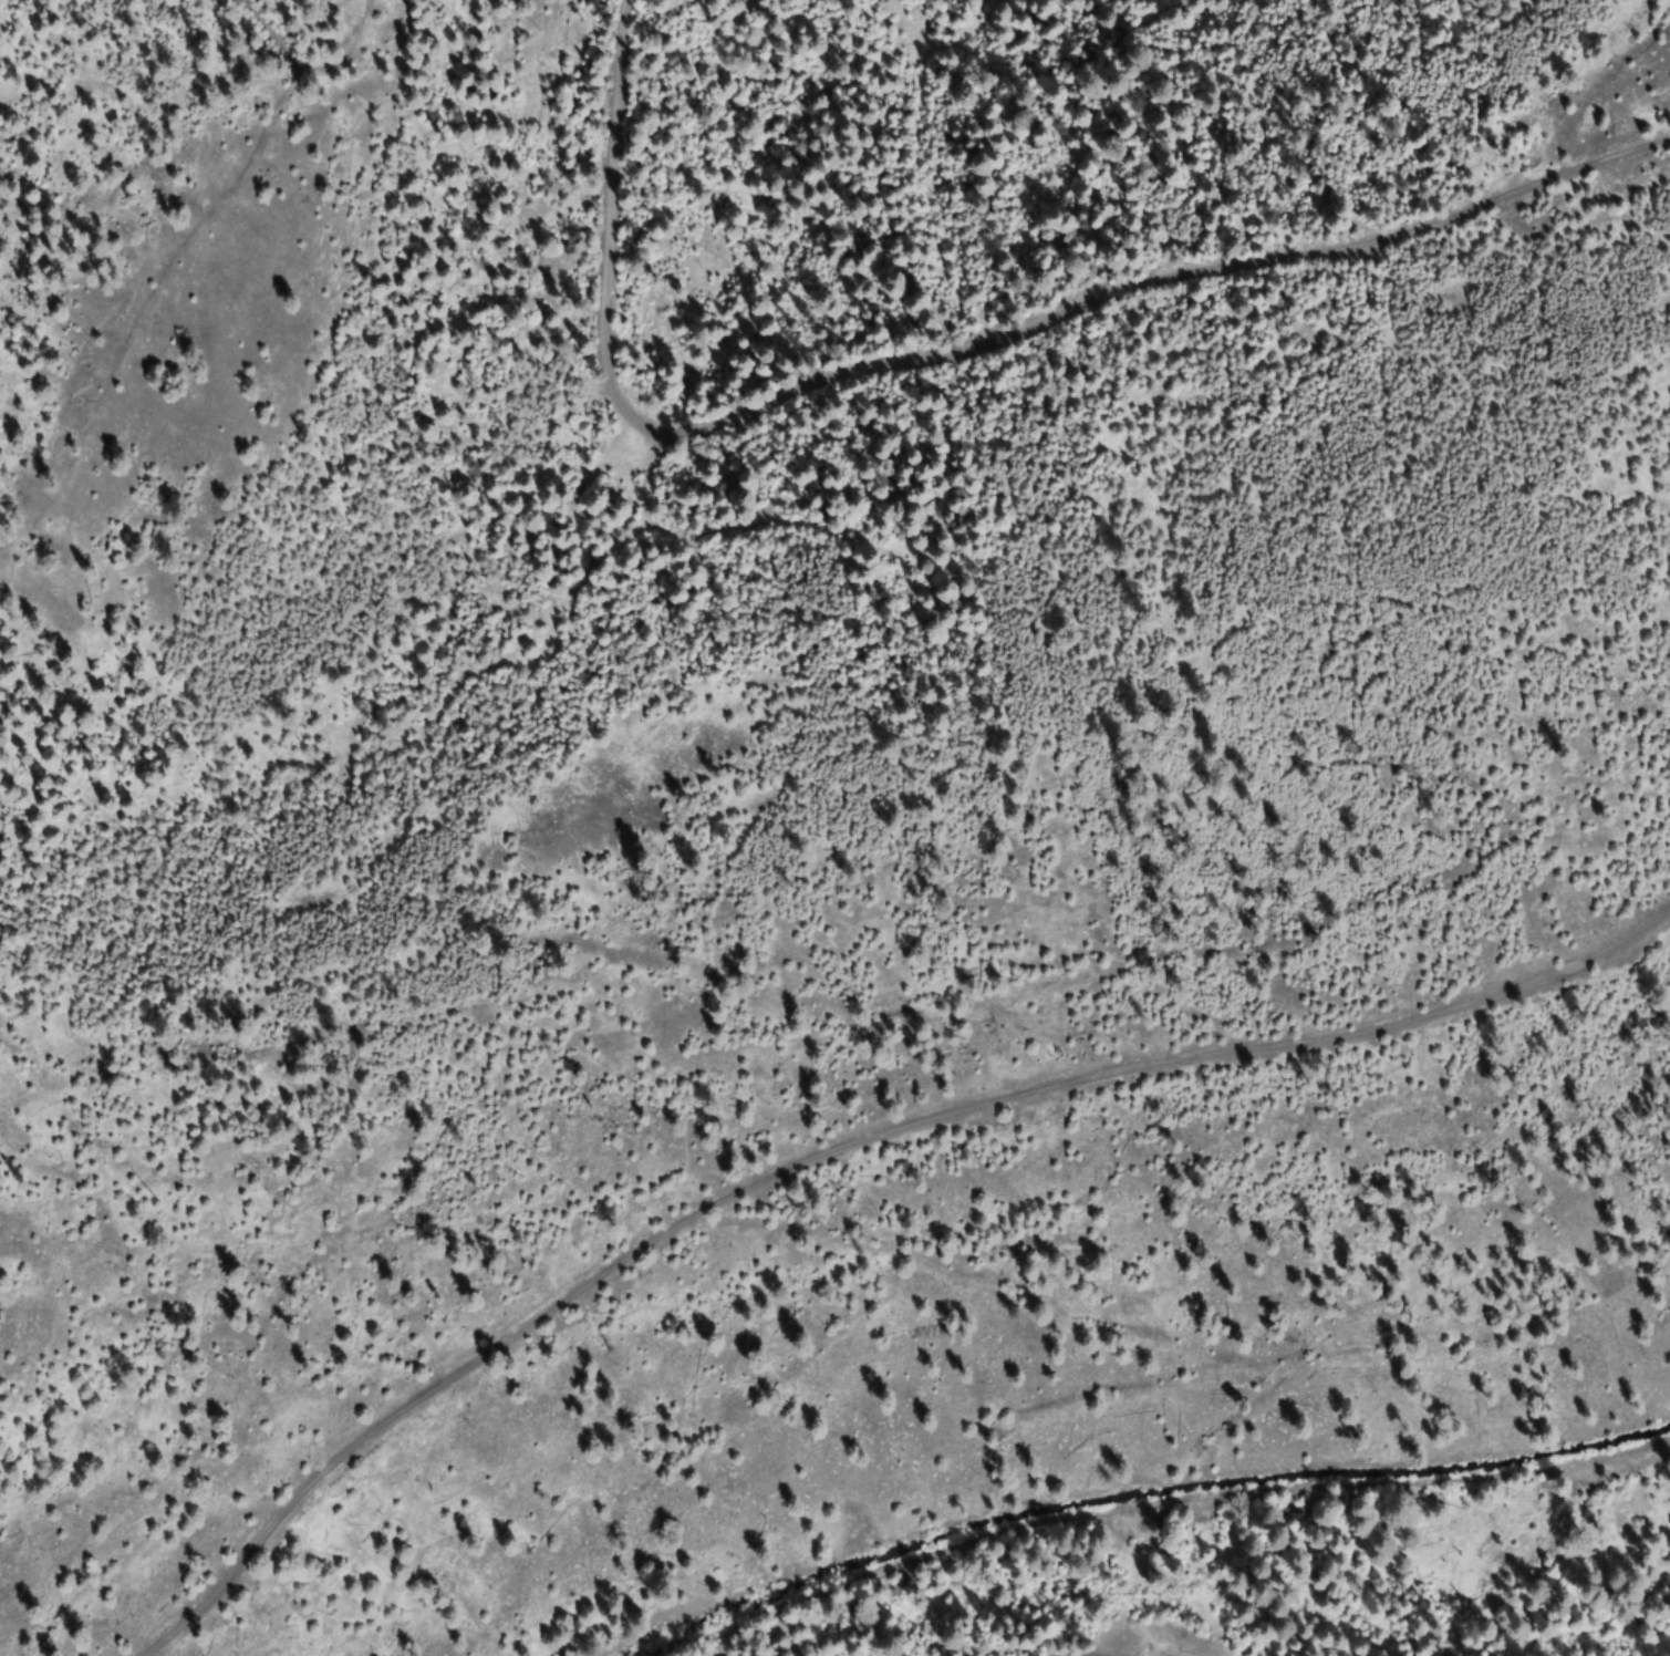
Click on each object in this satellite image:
road: (1213, 69)
road: (958, 351)
road: (805, 1157)

